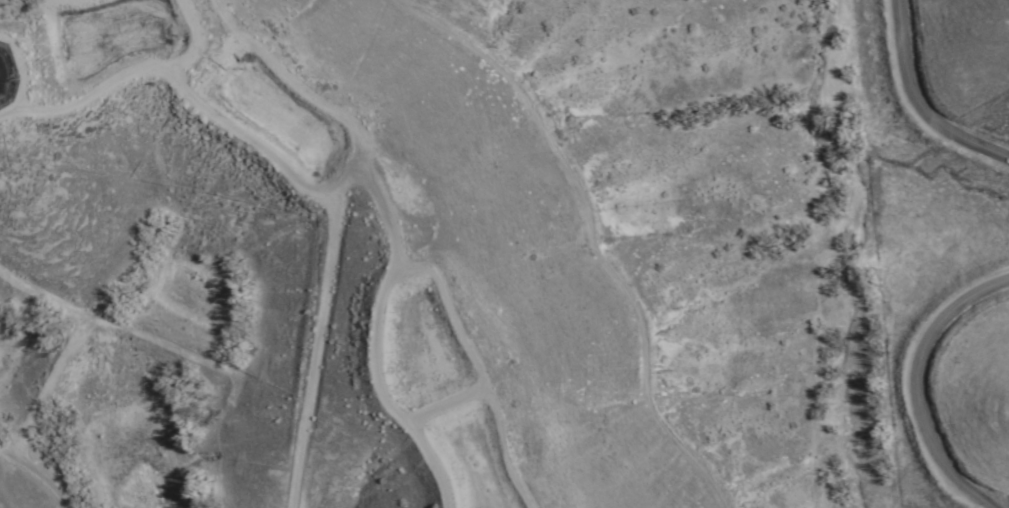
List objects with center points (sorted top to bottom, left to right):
road: (918, 103)
road: (304, 208)
road: (530, 222)
road: (918, 388)
road: (34, 473)

